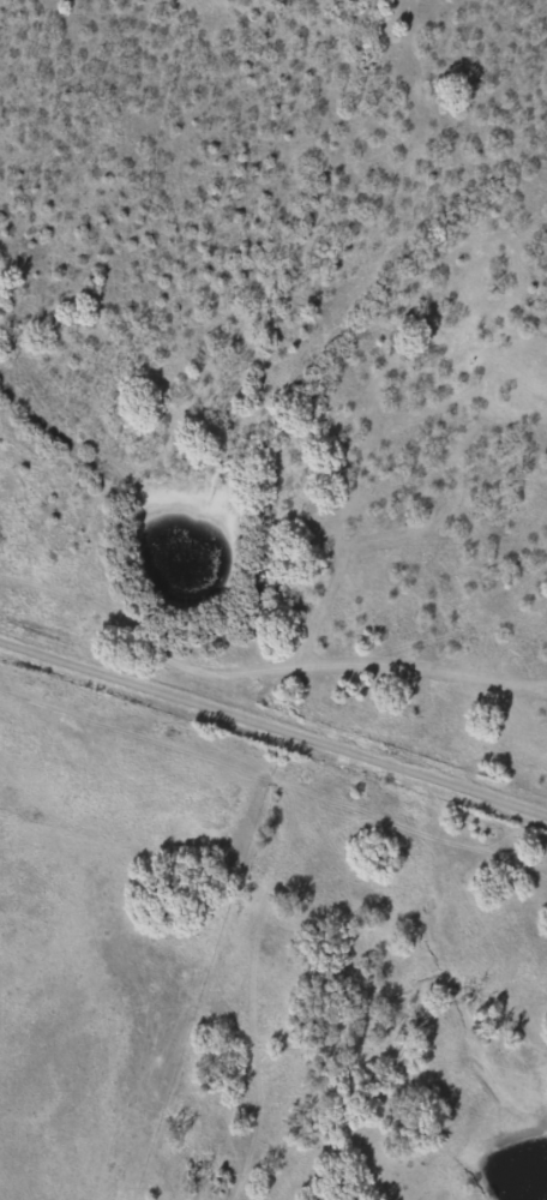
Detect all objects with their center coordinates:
road: (272, 730)

